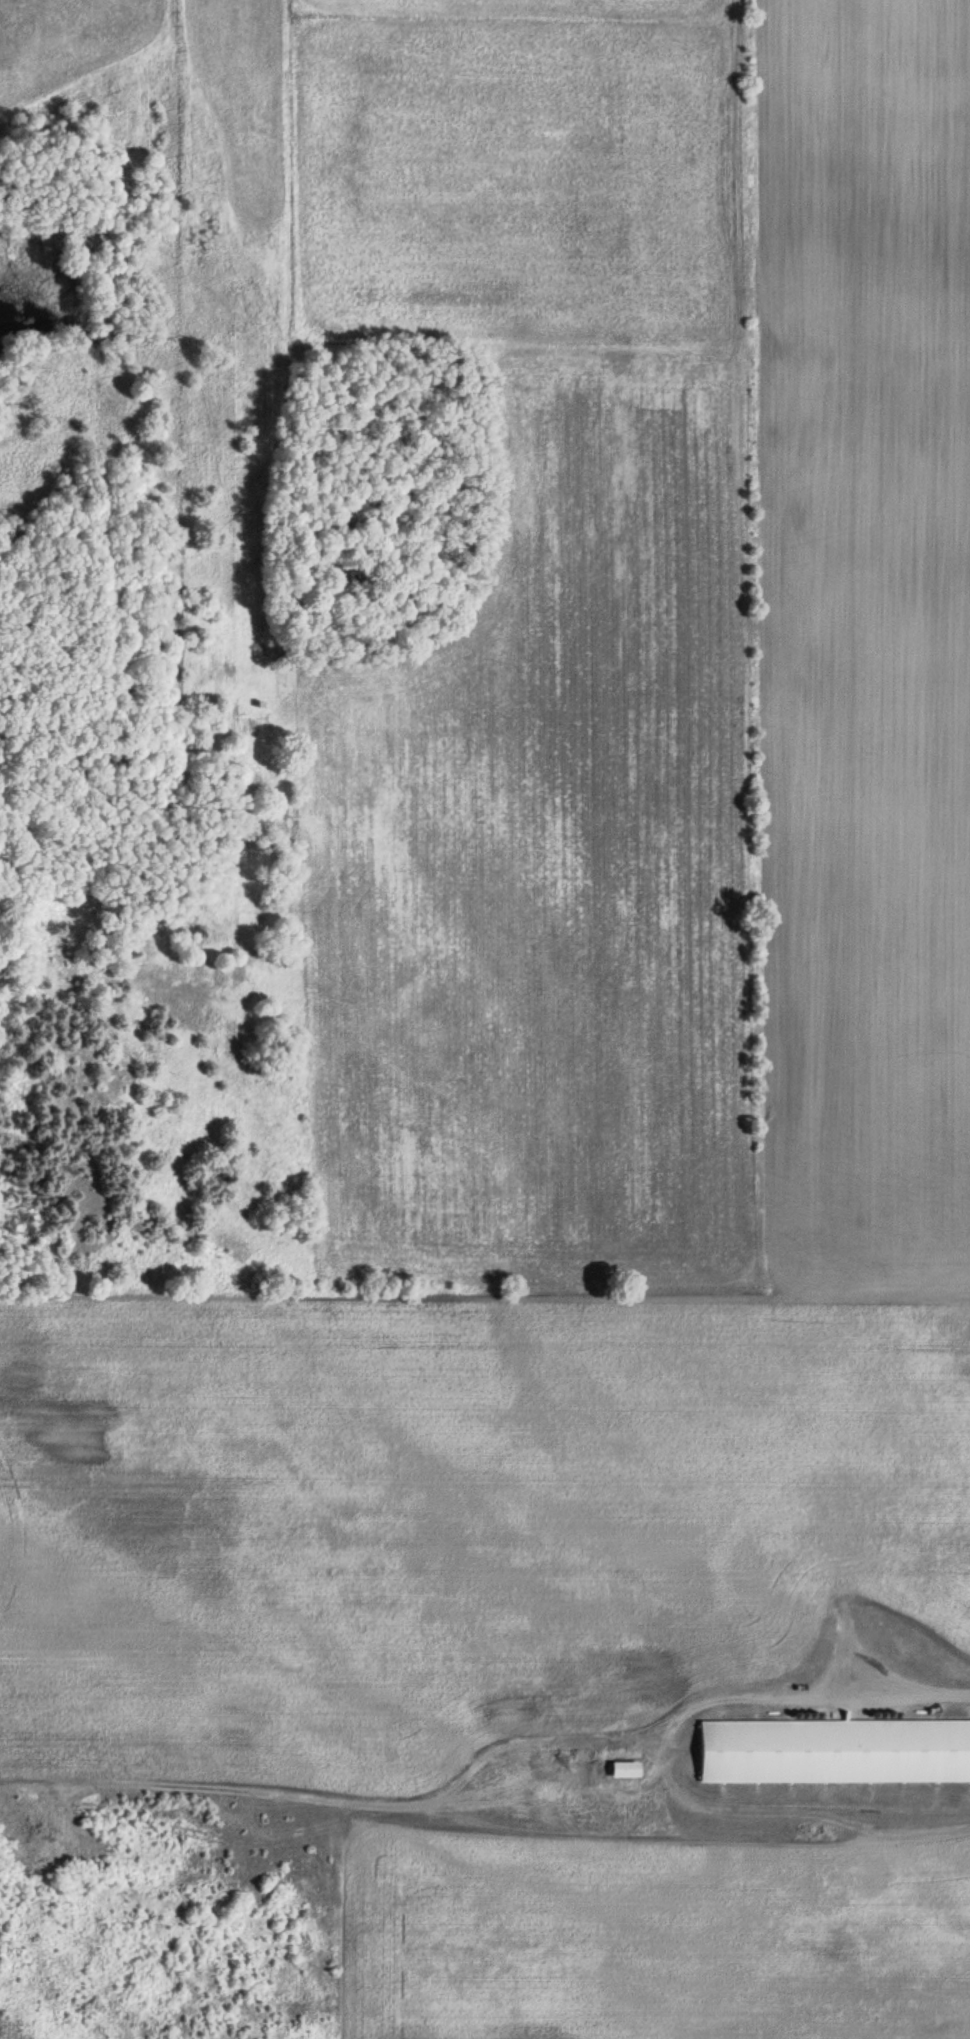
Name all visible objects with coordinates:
building: (835, 1751)
building: (629, 1770)

